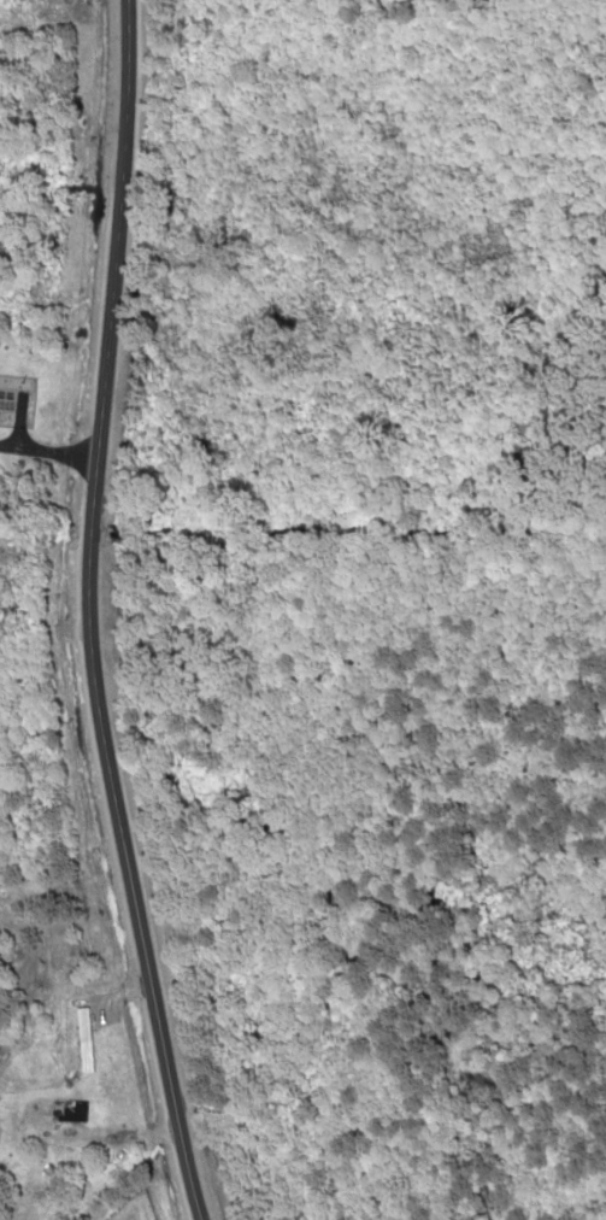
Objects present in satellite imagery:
road: (110, 257)
building: (4, 401)
road: (84, 532)
road: (125, 887)
building: (65, 1110)

